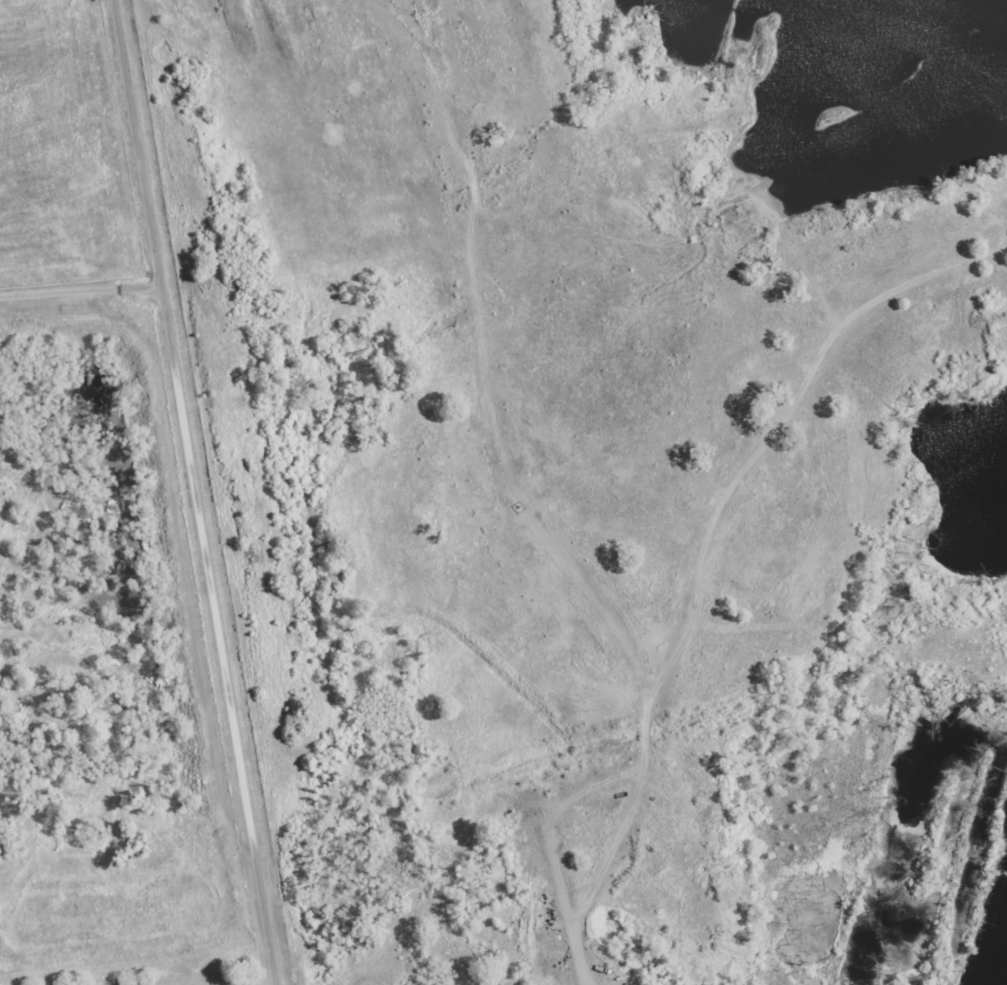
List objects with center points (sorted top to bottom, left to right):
road: (80, 284)
road: (197, 492)
road: (821, 601)
road: (180, 981)

